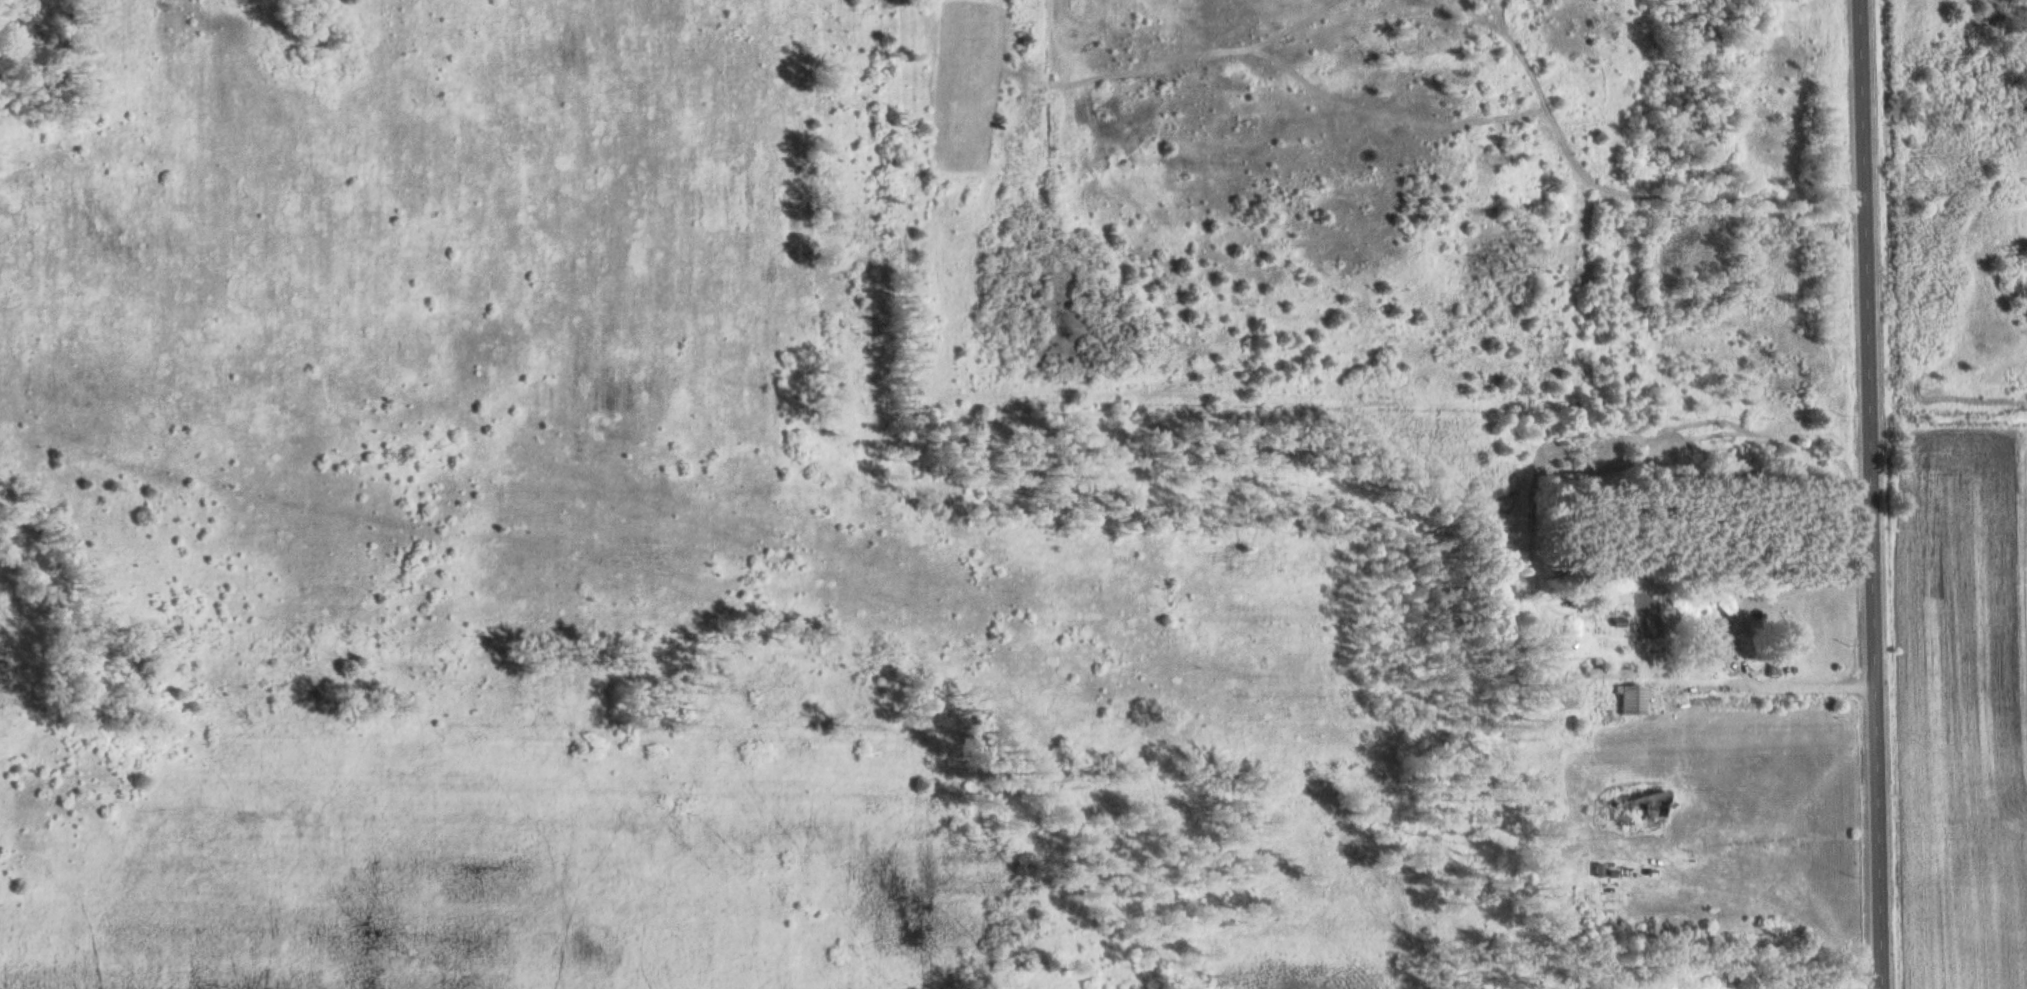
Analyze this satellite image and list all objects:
road: (1868, 494)
building: (1726, 614)
building: (1605, 674)
building: (1628, 700)

